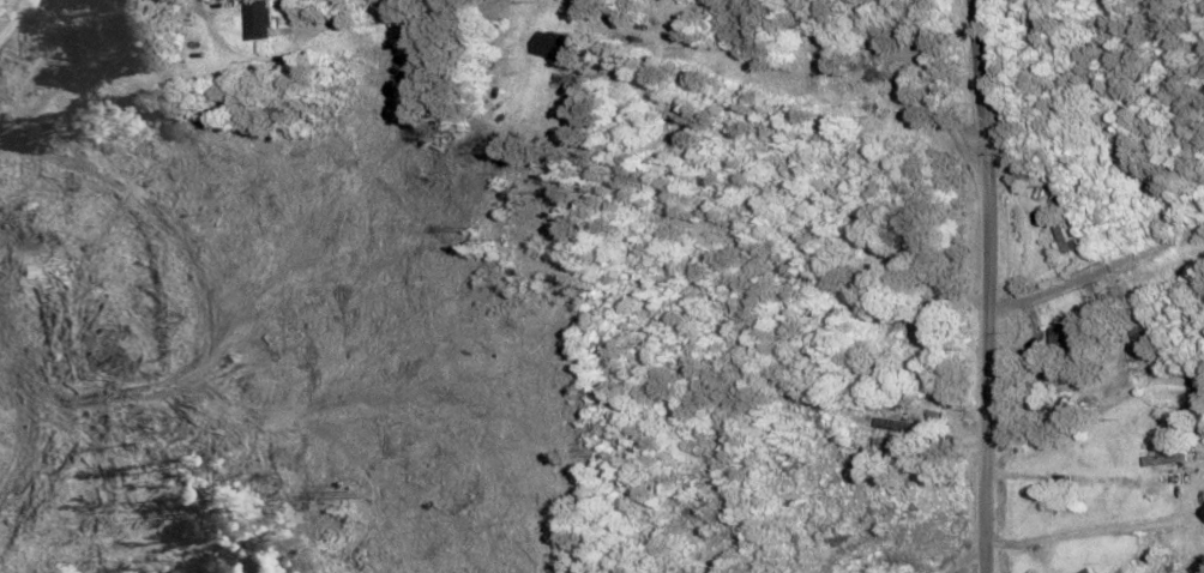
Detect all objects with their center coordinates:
road: (854, 13)
building: (260, 20)
building: (555, 47)
building: (849, 86)
building: (904, 258)
road: (1015, 285)
building: (1070, 340)
building: (1163, 459)
building: (1090, 571)

